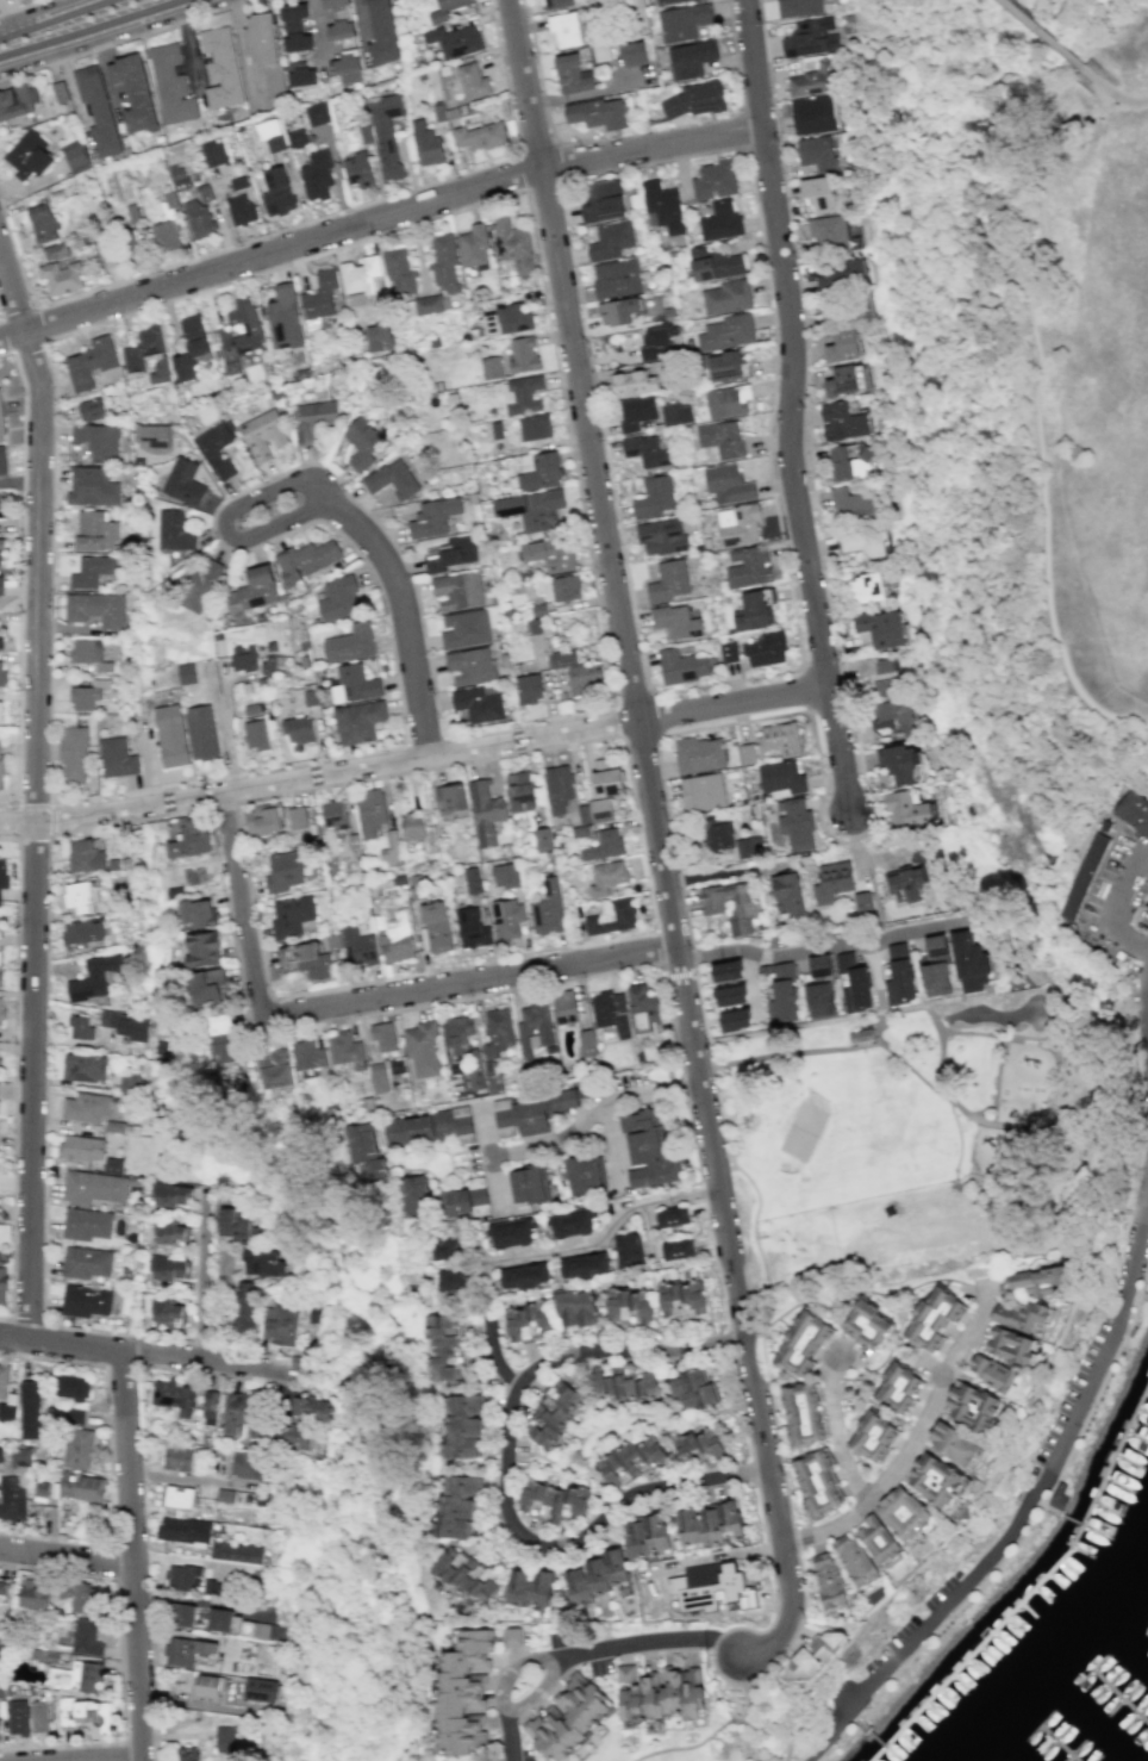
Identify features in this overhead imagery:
building: (668, 1)
building: (556, 4)
road: (20, 6)
building: (797, 7)
building: (445, 10)
road: (54, 18)
building: (338, 19)
building: (682, 21)
building: (294, 27)
road: (96, 29)
building: (563, 29)
building: (381, 32)
road: (730, 33)
road: (1041, 33)
building: (810, 37)
road: (124, 39)
building: (455, 41)
building: (263, 49)
building: (601, 52)
building: (632, 52)
building: (690, 58)
building: (219, 68)
building: (347, 68)
building: (300, 74)
building: (572, 74)
building: (813, 79)
building: (472, 81)
building: (170, 85)
road: (1100, 86)
building: (133, 92)
building: (694, 99)
building: (17, 101)
road: (1134, 105)
building: (96, 111)
building: (316, 113)
building: (597, 113)
building: (813, 114)
road: (1092, 116)
building: (386, 133)
building: (272, 135)
building: (479, 136)
building: (297, 138)
road: (598, 138)
building: (425, 143)
road: (725, 149)
building: (214, 151)
building: (817, 153)
building: (27, 155)
building: (75, 156)
road: (555, 160)
building: (357, 169)
building: (316, 175)
building: (713, 180)
road: (525, 187)
building: (276, 192)
building: (819, 193)
building: (600, 200)
building: (663, 205)
building: (239, 210)
building: (196, 218)
road: (375, 219)
building: (719, 222)
building: (42, 223)
road: (301, 223)
building: (828, 232)
building: (166, 236)
building: (610, 241)
building: (512, 244)
building: (473, 245)
building: (55, 250)
building: (444, 263)
building: (713, 265)
building: (398, 272)
building: (840, 274)
building: (62, 275)
building: (616, 278)
building: (360, 279)
building: (320, 295)
building: (726, 297)
building: (430, 304)
road: (32, 306)
building: (617, 311)
building: (283, 318)
building: (509, 319)
building: (192, 326)
building: (726, 332)
building: (238, 334)
building: (379, 337)
building: (655, 340)
building: (843, 346)
building: (143, 348)
building: (523, 355)
building: (189, 359)
building: (89, 362)
building: (724, 366)
building: (489, 367)
building: (160, 371)
building: (847, 379)
building: (632, 382)
building: (522, 394)
building: (728, 400)
building: (91, 409)
road: (788, 409)
building: (635, 412)
building: (675, 413)
building: (313, 418)
building: (841, 422)
building: (535, 427)
building: (0, 429)
building: (263, 435)
building: (722, 438)
building: (98, 441)
building: (362, 442)
building: (216, 449)
building: (645, 450)
road: (1042, 452)
building: (2, 462)
building: (848, 463)
building: (541, 472)
building: (392, 479)
building: (183, 481)
building: (726, 484)
building: (92, 487)
building: (654, 497)
building: (850, 503)
building: (1, 504)
building: (531, 509)
road: (344, 514)
building: (433, 517)
building: (737, 523)
building: (174, 530)
building: (94, 531)
building: (661, 536)
building: (865, 542)
building: (0, 552)
building: (450, 553)
building: (550, 553)
building: (305, 560)
building: (747, 566)
building: (91, 571)
road: (19, 579)
building: (668, 580)
building: (0, 584)
building: (199, 586)
building: (556, 587)
building: (865, 589)
building: (252, 590)
building: (457, 590)
road: (616, 595)
building: (338, 598)
building: (96, 609)
building: (753, 609)
building: (675, 621)
building: (464, 629)
building: (882, 629)
road: (605, 640)
building: (1, 641)
building: (349, 643)
building: (766, 648)
building: (728, 652)
building: (88, 653)
building: (243, 658)
building: (469, 666)
building: (681, 666)
building: (1, 672)
building: (578, 672)
building: (185, 673)
building: (880, 673)
building: (354, 684)
building: (528, 687)
road: (806, 687)
building: (87, 695)
road: (635, 701)
building: (479, 703)
building: (0, 713)
road: (656, 714)
building: (891, 714)
building: (358, 721)
road: (617, 721)
building: (298, 729)
building: (200, 732)
building: (170, 735)
building: (255, 735)
building: (779, 738)
road: (423, 741)
road: (857, 749)
road: (443, 752)
building: (73, 753)
building: (698, 754)
building: (745, 754)
building: (116, 758)
road: (407, 758)
road: (414, 759)
building: (0, 763)
building: (898, 764)
building: (605, 778)
building: (780, 778)
building: (557, 788)
road: (36, 791)
building: (520, 791)
building: (701, 792)
building: (450, 798)
road: (235, 803)
road: (220, 804)
road: (48, 805)
building: (600, 809)
building: (906, 810)
building: (370, 811)
building: (485, 811)
building: (1131, 813)
building: (333, 815)
road: (149, 817)
building: (297, 817)
building: (262, 819)
building: (581, 822)
building: (794, 823)
building: (411, 826)
building: (716, 834)
road: (17, 838)
building: (188, 838)
building: (542, 839)
building: (603, 845)
building: (747, 847)
building: (391, 850)
building: (85, 854)
building: (286, 870)
parking lot: (1105, 871)
building: (2, 875)
building: (194, 875)
building: (504, 876)
building: (606, 877)
building: (1080, 877)
building: (472, 880)
building: (831, 882)
building: (905, 884)
building: (786, 895)
building: (76, 897)
building: (862, 903)
road: (239, 904)
building: (729, 906)
building: (548, 909)
road: (1113, 911)
building: (198, 913)
building: (291, 915)
building: (611, 916)
building: (507, 919)
parking lot: (1142, 919)
building: (436, 927)
building: (472, 928)
building: (81, 932)
building: (935, 945)
building: (357, 947)
road: (657, 948)
building: (201, 950)
road: (815, 951)
building: (306, 960)
building: (968, 962)
building: (819, 966)
building: (725, 971)
road: (680, 973)
building: (899, 976)
building: (93, 978)
building: (936, 978)
road: (467, 981)
building: (854, 983)
building: (206, 987)
building: (729, 995)
building: (782, 995)
building: (819, 1000)
road: (918, 1003)
building: (563, 1007)
building: (1, 1009)
building: (643, 1010)
building: (610, 1012)
park: (1005, 1013)
road: (932, 1019)
building: (735, 1020)
building: (125, 1025)
road: (800, 1025)
building: (863, 1026)
building: (79, 1027)
building: (532, 1028)
building: (497, 1032)
building: (456, 1035)
building: (860, 1035)
road: (942, 1035)
building: (382, 1037)
building: (220, 1038)
road: (1035, 1038)
building: (586, 1043)
road: (882, 1045)
building: (343, 1047)
building: (422, 1050)
building: (306, 1054)
building: (83, 1066)
building: (273, 1069)
road: (1088, 1074)
road: (14, 1076)
road: (994, 1081)
building: (564, 1099)
building: (88, 1107)
building: (519, 1118)
building: (453, 1122)
park: (803, 1126)
building: (407, 1130)
road: (1077, 1130)
road: (619, 1134)
road: (960, 1139)
park: (924, 1143)
building: (80, 1147)
building: (645, 1150)
building: (364, 1153)
road: (42, 1174)
building: (584, 1174)
building: (528, 1184)
building: (92, 1187)
building: (171, 1194)
building: (414, 1195)
road: (757, 1197)
building: (467, 1199)
road: (1133, 1213)
building: (672, 1216)
building: (86, 1224)
building: (570, 1224)
building: (236, 1227)
building: (512, 1232)
road: (609, 1232)
building: (171, 1233)
road: (757, 1237)
building: (445, 1247)
building: (676, 1249)
building: (626, 1250)
building: (85, 1262)
building: (262, 1263)
building: (584, 1265)
building: (169, 1268)
road: (715, 1270)
road: (1146, 1274)
road: (201, 1275)
building: (524, 1276)
building: (1, 1277)
building: (453, 1278)
building: (1036, 1281)
pier: (1138, 1293)
building: (680, 1298)
building: (85, 1300)
building: (244, 1306)
building: (628, 1306)
building: (575, 1308)
building: (169, 1312)
building: (1021, 1317)
building: (932, 1319)
road: (25, 1321)
building: (525, 1321)
building: (865, 1324)
building: (277, 1326)
road: (744, 1327)
building: (801, 1343)
building: (1009, 1345)
building: (445, 1346)
road: (497, 1348)
road: (143, 1352)
road: (121, 1364)
road: (104, 1367)
road: (210, 1373)
building: (991, 1374)
building: (4, 1380)
building: (624, 1381)
building: (70, 1387)
building: (898, 1388)
building: (693, 1389)
parking lot: (1069, 1390)
building: (174, 1395)
road: (1098, 1395)
building: (969, 1405)
building: (208, 1407)
building: (310, 1408)
building: (29, 1410)
building: (239, 1413)
building: (550, 1413)
road: (616, 1414)
building: (803, 1414)
building: (74, 1415)
road: (832, 1423)
building: (461, 1425)
road: (916, 1429)
building: (873, 1436)
building: (292, 1437)
building: (697, 1444)
building: (954, 1444)
building: (77, 1448)
building: (1, 1454)
building: (20, 1457)
building: (176, 1458)
building: (630, 1460)
building: (247, 1464)
road: (513, 1477)
road: (1047, 1477)
building: (817, 1482)
building: (936, 1482)
pier: (1104, 1485)
building: (81, 1487)
building: (177, 1496)
building: (12, 1499)
building: (553, 1500)
building: (455, 1506)
building: (901, 1513)
building: (709, 1524)
building: (183, 1531)
road: (13, 1532)
building: (644, 1536)
road: (791, 1541)
building: (878, 1542)
building: (236, 1551)
road: (133, 1555)
road: (67, 1558)
building: (853, 1560)
road: (788, 1573)
building: (594, 1576)
building: (181, 1578)
building: (826, 1582)
building: (4, 1586)
building: (528, 1587)
building: (710, 1587)
building: (33, 1594)
building: (79, 1594)
road: (117, 1601)
road: (953, 1614)
building: (186, 1616)
building: (224, 1620)
parking lot: (907, 1623)
building: (269, 1631)
building: (511, 1636)
building: (86, 1637)
building: (0, 1641)
road: (648, 1643)
pier: (979, 1645)
road: (151, 1649)
building: (186, 1650)
building: (812, 1654)
road: (542, 1656)
building: (77, 1676)
building: (208, 1686)
building: (1, 1690)
building: (261, 1690)
building: (463, 1692)
building: (659, 1693)
road: (790, 1695)
pier: (1124, 1697)
building: (86, 1713)
building: (18, 1717)
building: (40, 1717)
building: (567, 1717)
road: (748, 1722)
park: (759, 1724)
road: (846, 1726)
road: (718, 1729)
road: (829, 1732)
road: (507, 1737)
road: (528, 1737)
road: (831, 1737)
pier: (1061, 1738)
building: (235, 1740)
road: (61, 1746)
road: (123, 1750)
building: (183, 1754)
road: (123, 1760)

